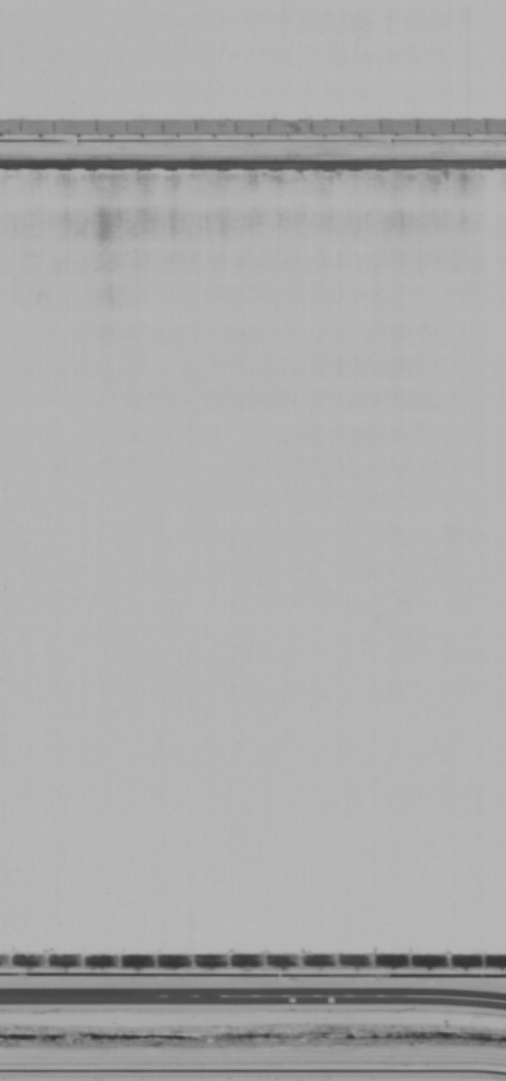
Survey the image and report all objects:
road: (253, 977)

